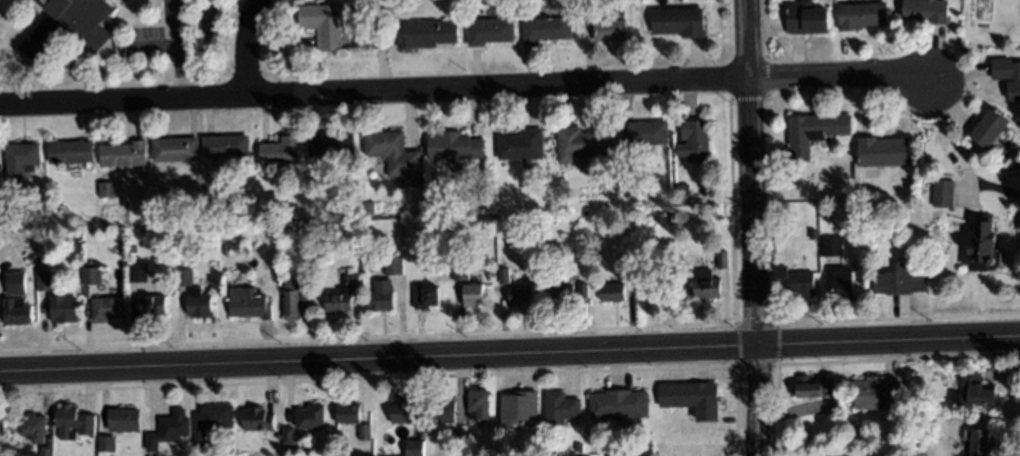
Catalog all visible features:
building: (644, 2)
building: (587, 10)
building: (925, 11)
building: (862, 15)
building: (807, 19)
building: (679, 22)
building: (322, 24)
building: (69, 25)
building: (546, 29)
building: (610, 30)
building: (489, 32)
building: (427, 34)
road: (247, 48)
road: (177, 50)
building: (1008, 74)
road: (836, 77)
road: (374, 93)
building: (989, 128)
building: (814, 132)
building: (645, 133)
building: (696, 140)
building: (582, 143)
building: (330, 144)
building: (521, 145)
building: (224, 146)
building: (454, 146)
building: (175, 150)
building: (280, 151)
building: (70, 152)
building: (883, 152)
building: (395, 154)
building: (123, 155)
building: (20, 162)
road: (994, 188)
building: (106, 190)
building: (688, 190)
building: (943, 193)
building: (455, 205)
building: (367, 206)
building: (827, 213)
building: (550, 217)
building: (672, 218)
building: (445, 227)
road: (753, 227)
building: (831, 245)
building: (984, 248)
building: (131, 249)
building: (225, 251)
building: (30, 257)
building: (722, 260)
building: (394, 264)
building: (628, 268)
building: (460, 271)
building: (138, 273)
building: (91, 276)
building: (503, 276)
building: (183, 277)
building: (901, 280)
building: (45, 281)
building: (795, 281)
building: (15, 283)
building: (845, 283)
building: (706, 285)
building: (613, 293)
building: (343, 294)
building: (568, 294)
building: (473, 295)
building: (304, 296)
building: (381, 296)
building: (521, 296)
building: (292, 297)
building: (426, 297)
building: (198, 304)
building: (249, 304)
building: (152, 307)
building: (63, 309)
building: (107, 309)
building: (16, 311)
road: (509, 354)
building: (806, 387)
building: (835, 389)
building: (974, 391)
building: (878, 394)
building: (692, 398)
building: (478, 404)
building: (619, 404)
building: (520, 408)
building: (561, 409)
building: (444, 411)
building: (347, 413)
building: (402, 413)
building: (311, 418)
building: (258, 419)
building: (123, 420)
building: (211, 421)
building: (73, 422)
building: (0, 425)
building: (627, 425)
building: (33, 427)
building: (169, 430)
building: (365, 432)
building: (288, 436)
building: (454, 443)
building: (106, 444)
building: (978, 444)
building: (579, 447)
building: (415, 448)
building: (469, 450)
building: (45, 451)
building: (367, 455)

